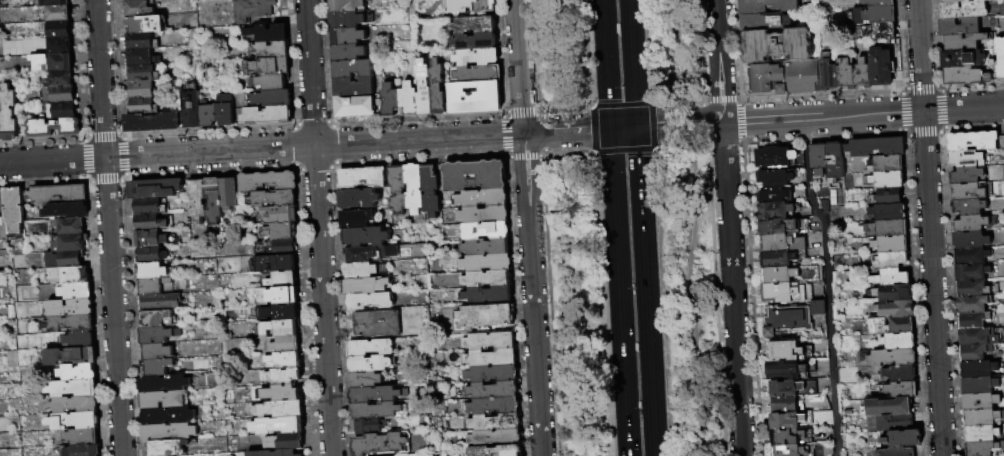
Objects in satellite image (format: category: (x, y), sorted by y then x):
building: (139, 0)
building: (205, 0)
building: (981, 0)
building: (953, 1)
building: (53, 3)
building: (878, 3)
building: (346, 6)
building: (470, 6)
building: (767, 6)
road: (629, 7)
road: (603, 8)
building: (138, 9)
building: (254, 10)
building: (963, 10)
building: (58, 14)
building: (870, 15)
building: (347, 21)
building: (764, 21)
building: (146, 25)
building: (475, 26)
building: (958, 26)
building: (60, 30)
building: (880, 31)
building: (268, 33)
building: (348, 37)
building: (963, 41)
building: (142, 42)
building: (476, 42)
building: (777, 45)
building: (62, 46)
building: (271, 50)
building: (348, 53)
building: (477, 58)
building: (961, 58)
building: (1000, 58)
building: (143, 59)
building: (53, 62)
building: (271, 67)
building: (881, 67)
building: (354, 70)
road: (633, 70)
road: (607, 72)
building: (143, 74)
building: (478, 74)
building: (845, 74)
building: (862, 74)
building: (827, 76)
building: (965, 76)
building: (783, 77)
building: (62, 79)
building: (271, 82)
building: (355, 88)
building: (424, 88)
building: (438, 88)
building: (143, 90)
building: (60, 95)
building: (476, 98)
building: (272, 99)
building: (410, 100)
building: (391, 101)
road: (626, 104)
building: (142, 106)
building: (356, 107)
building: (192, 108)
building: (225, 110)
building: (63, 111)
building: (8, 115)
building: (208, 115)
building: (268, 115)
road: (820, 117)
building: (153, 122)
traffic signals: (636, 127)
building: (54, 128)
road: (623, 128)
traffic signals: (610, 129)
building: (0, 130)
building: (973, 141)
building: (1001, 142)
road: (305, 146)
building: (874, 147)
road: (615, 150)
building: (774, 157)
building: (968, 158)
building: (817, 160)
building: (833, 164)
building: (884, 164)
building: (966, 175)
building: (475, 177)
building: (774, 177)
building: (362, 179)
building: (886, 180)
building: (269, 182)
building: (156, 189)
building: (415, 189)
building: (398, 191)
building: (431, 191)
building: (971, 191)
building: (230, 194)
building: (774, 194)
building: (58, 195)
building: (887, 196)
building: (273, 199)
building: (358, 199)
building: (484, 199)
building: (197, 200)
building: (214, 201)
building: (2, 203)
building: (149, 207)
building: (968, 207)
building: (775, 209)
building: (67, 211)
building: (15, 212)
building: (887, 212)
building: (281, 215)
building: (484, 215)
building: (357, 219)
building: (150, 223)
building: (973, 223)
building: (71, 226)
road: (108, 227)
park: (628, 227)
road: (729, 227)
building: (778, 227)
road: (929, 227)
road: (318, 228)
road: (528, 228)
road: (684, 228)
building: (887, 228)
building: (282, 231)
building: (486, 232)
building: (366, 237)
building: (970, 239)
building: (150, 240)
building: (781, 242)
building: (70, 243)
building: (890, 245)
building: (276, 248)
building: (486, 248)
building: (371, 254)
building: (970, 255)
building: (152, 256)
building: (777, 258)
building: (66, 260)
building: (891, 261)
building: (277, 264)
building: (487, 264)
building: (363, 271)
building: (151, 272)
building: (970, 272)
building: (778, 274)
building: (70, 275)
building: (488, 279)
building: (890, 279)
building: (283, 280)
road: (826, 285)
building: (155, 287)
building: (367, 287)
building: (972, 288)
road: (646, 291)
building: (77, 292)
road: (619, 292)
building: (783, 292)
building: (893, 293)
building: (489, 295)
building: (273, 296)
building: (160, 303)
building: (370, 303)
building: (973, 304)
building: (71, 308)
building: (818, 308)
building: (894, 310)
building: (284, 312)
building: (487, 316)
building: (158, 319)
building: (785, 319)
building: (972, 320)
building: (70, 324)
building: (377, 325)
building: (901, 326)
building: (281, 328)
building: (159, 335)
building: (977, 337)
building: (80, 340)
building: (490, 342)
building: (898, 342)
building: (287, 345)
building: (372, 348)
building: (784, 350)
building: (157, 352)
building: (975, 352)
building: (71, 356)
building: (491, 358)
building: (887, 358)
building: (286, 361)
building: (371, 364)
building: (157, 367)
building: (785, 369)
building: (978, 369)
building: (78, 373)
building: (492, 374)
building: (898, 374)
building: (284, 377)
building: (367, 380)
building: (164, 384)
building: (979, 385)
building: (785, 388)
building: (74, 389)
building: (900, 390)
building: (493, 391)
building: (285, 394)
building: (376, 395)
building: (164, 400)
building: (979, 401)
building: (785, 404)
building: (75, 406)
building: (494, 407)
building: (885, 407)
building: (288, 409)
building: (379, 411)
building: (168, 416)
building: (981, 417)
building: (786, 420)
building: (74, 422)
building: (495, 423)
building: (889, 423)
building: (279, 426)
building: (369, 427)
building: (169, 432)
building: (980, 434)
building: (786, 436)
building: (82, 438)
building: (495, 439)
building: (903, 439)
building: (285, 442)
building: (383, 444)
building: (168, 448)
building: (984, 449)
building: (83, 450)
building: (789, 450)
building: (497, 451)
building: (894, 452)
building: (275, 453)

